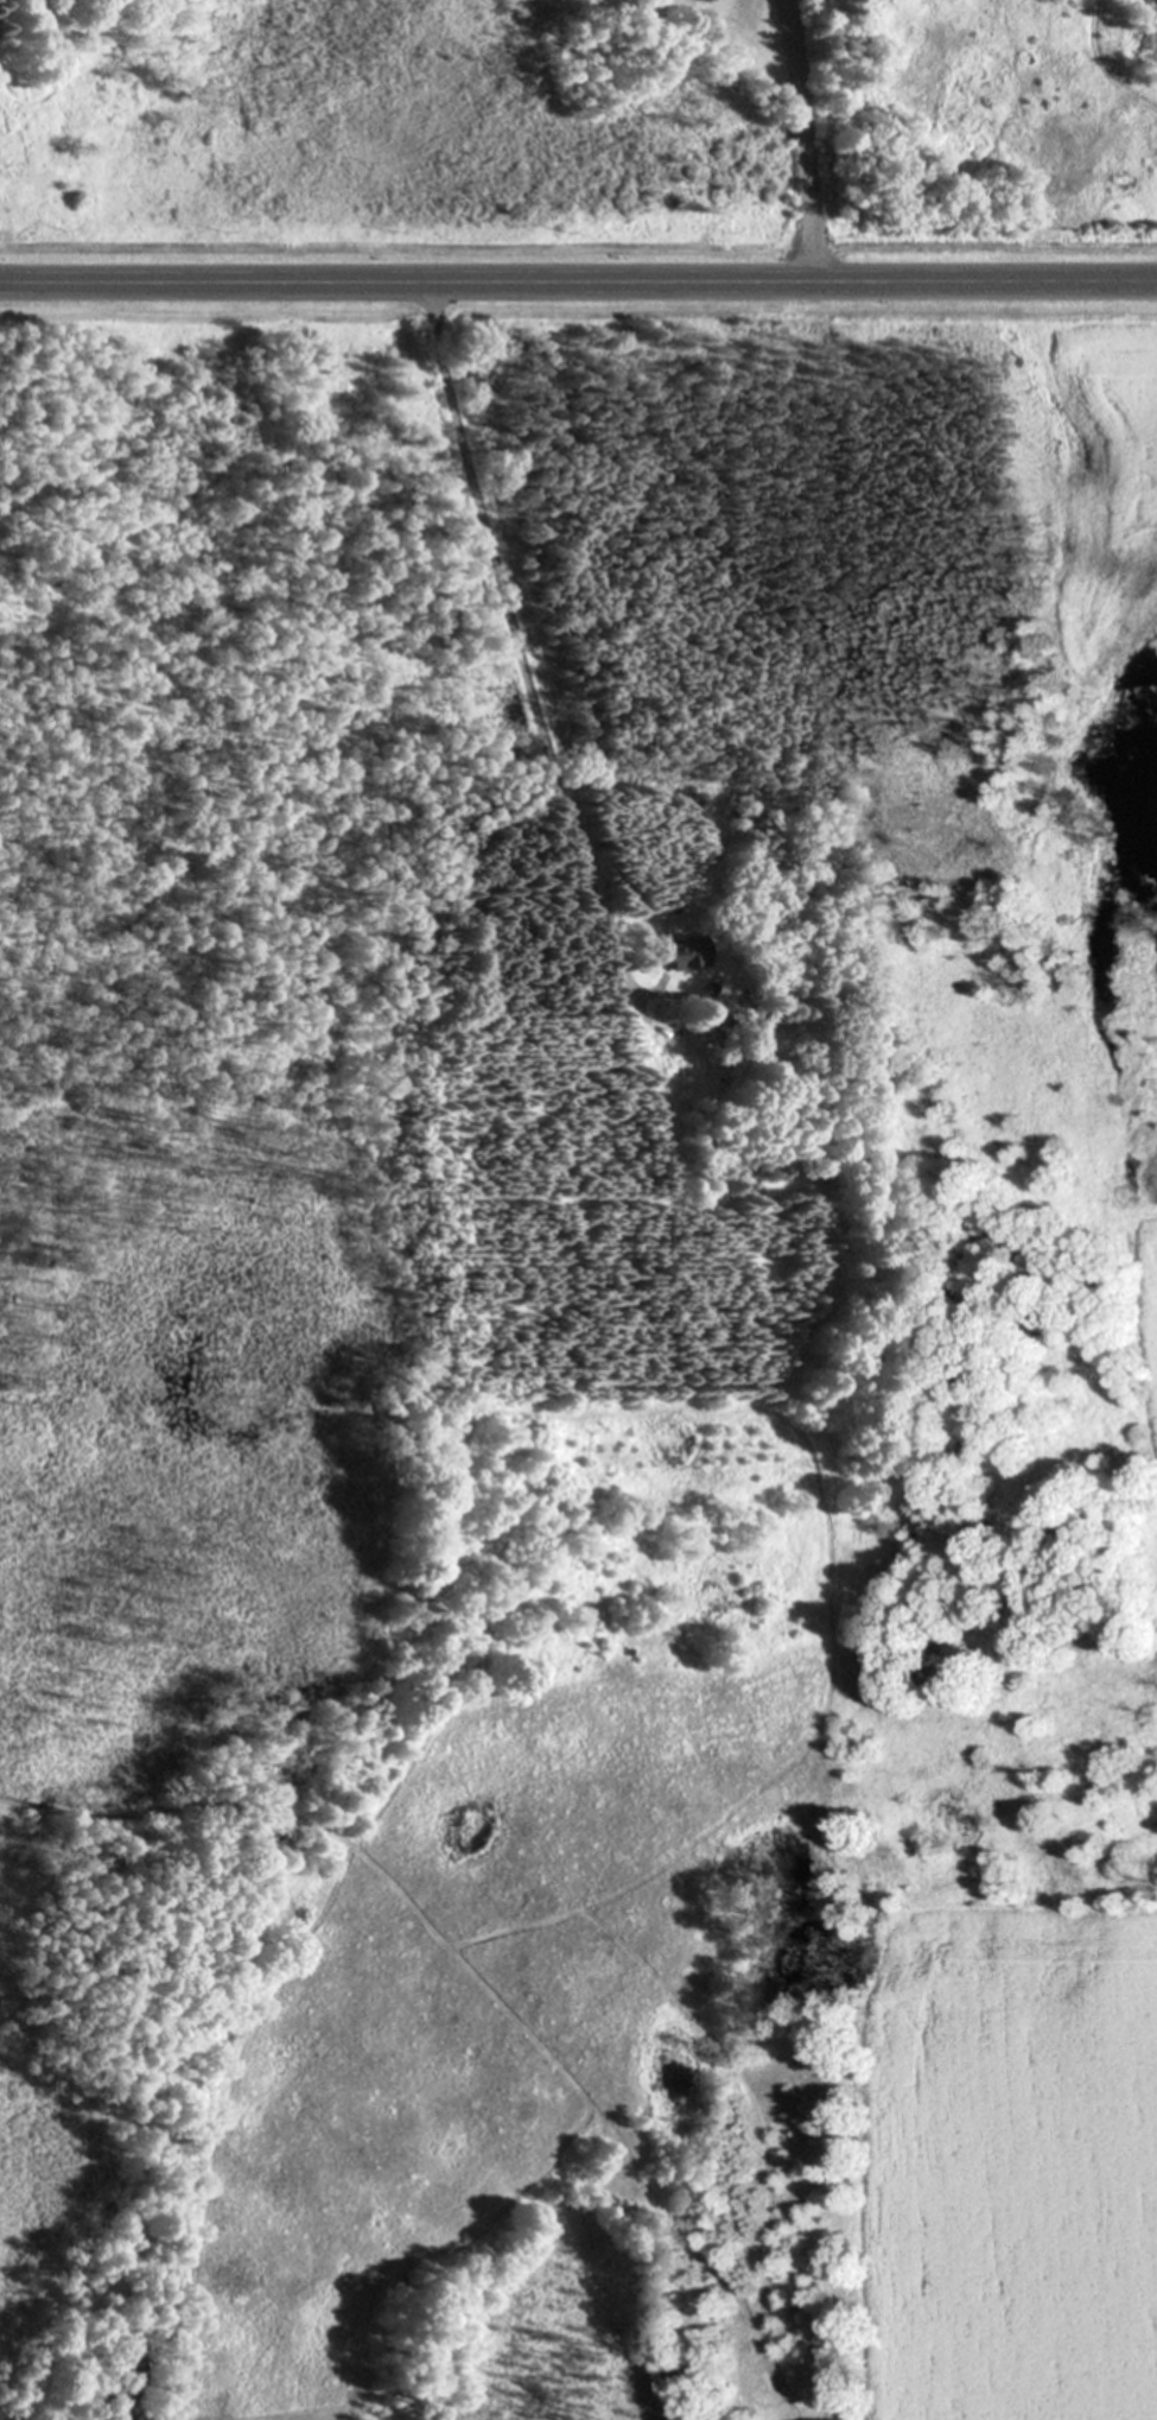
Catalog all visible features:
building: (698, 0)
road: (802, 140)
road: (578, 280)
road: (540, 728)
building: (684, 954)

